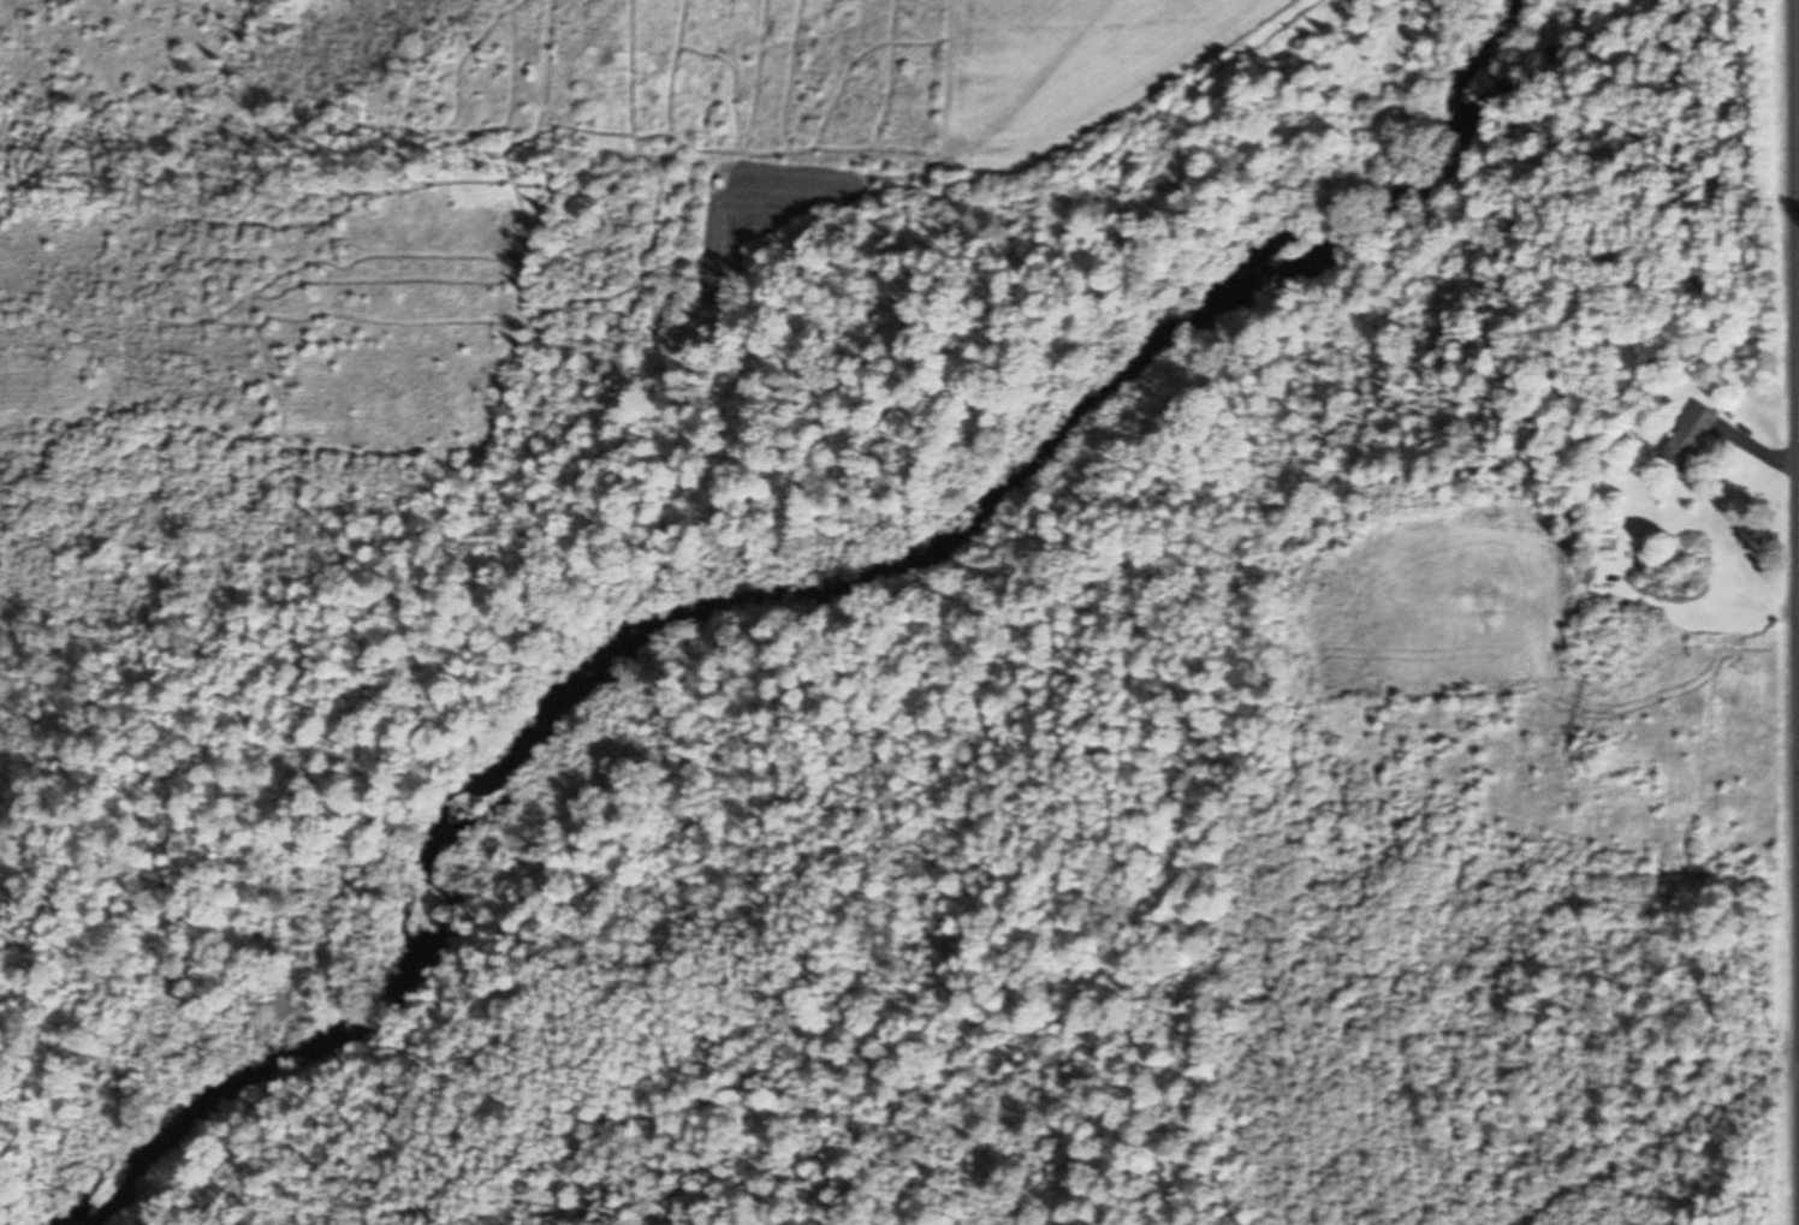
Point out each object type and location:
building: (1697, 438)

